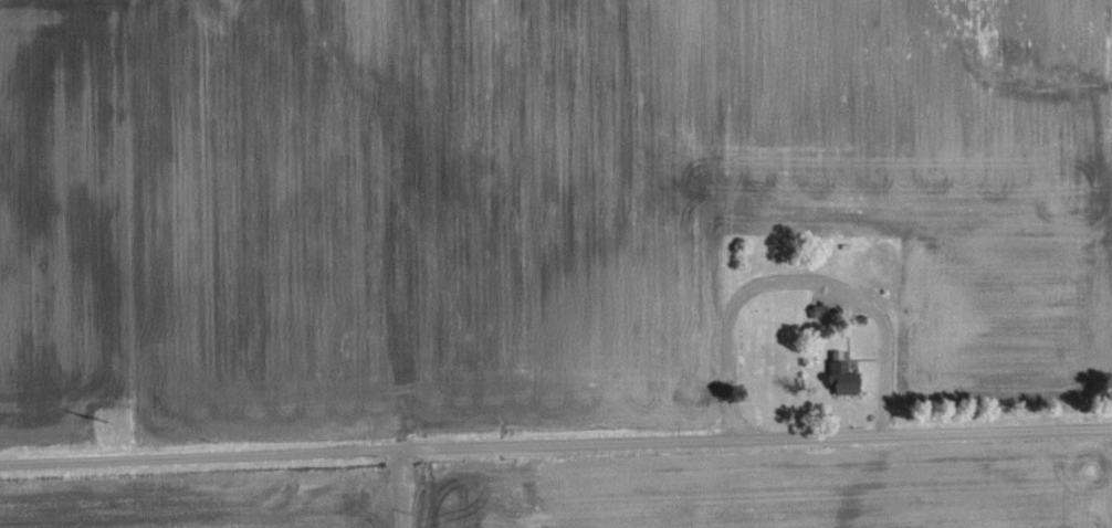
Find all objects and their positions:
building: (878, 272)
road: (794, 276)
building: (847, 378)
road: (556, 445)
road: (397, 488)

